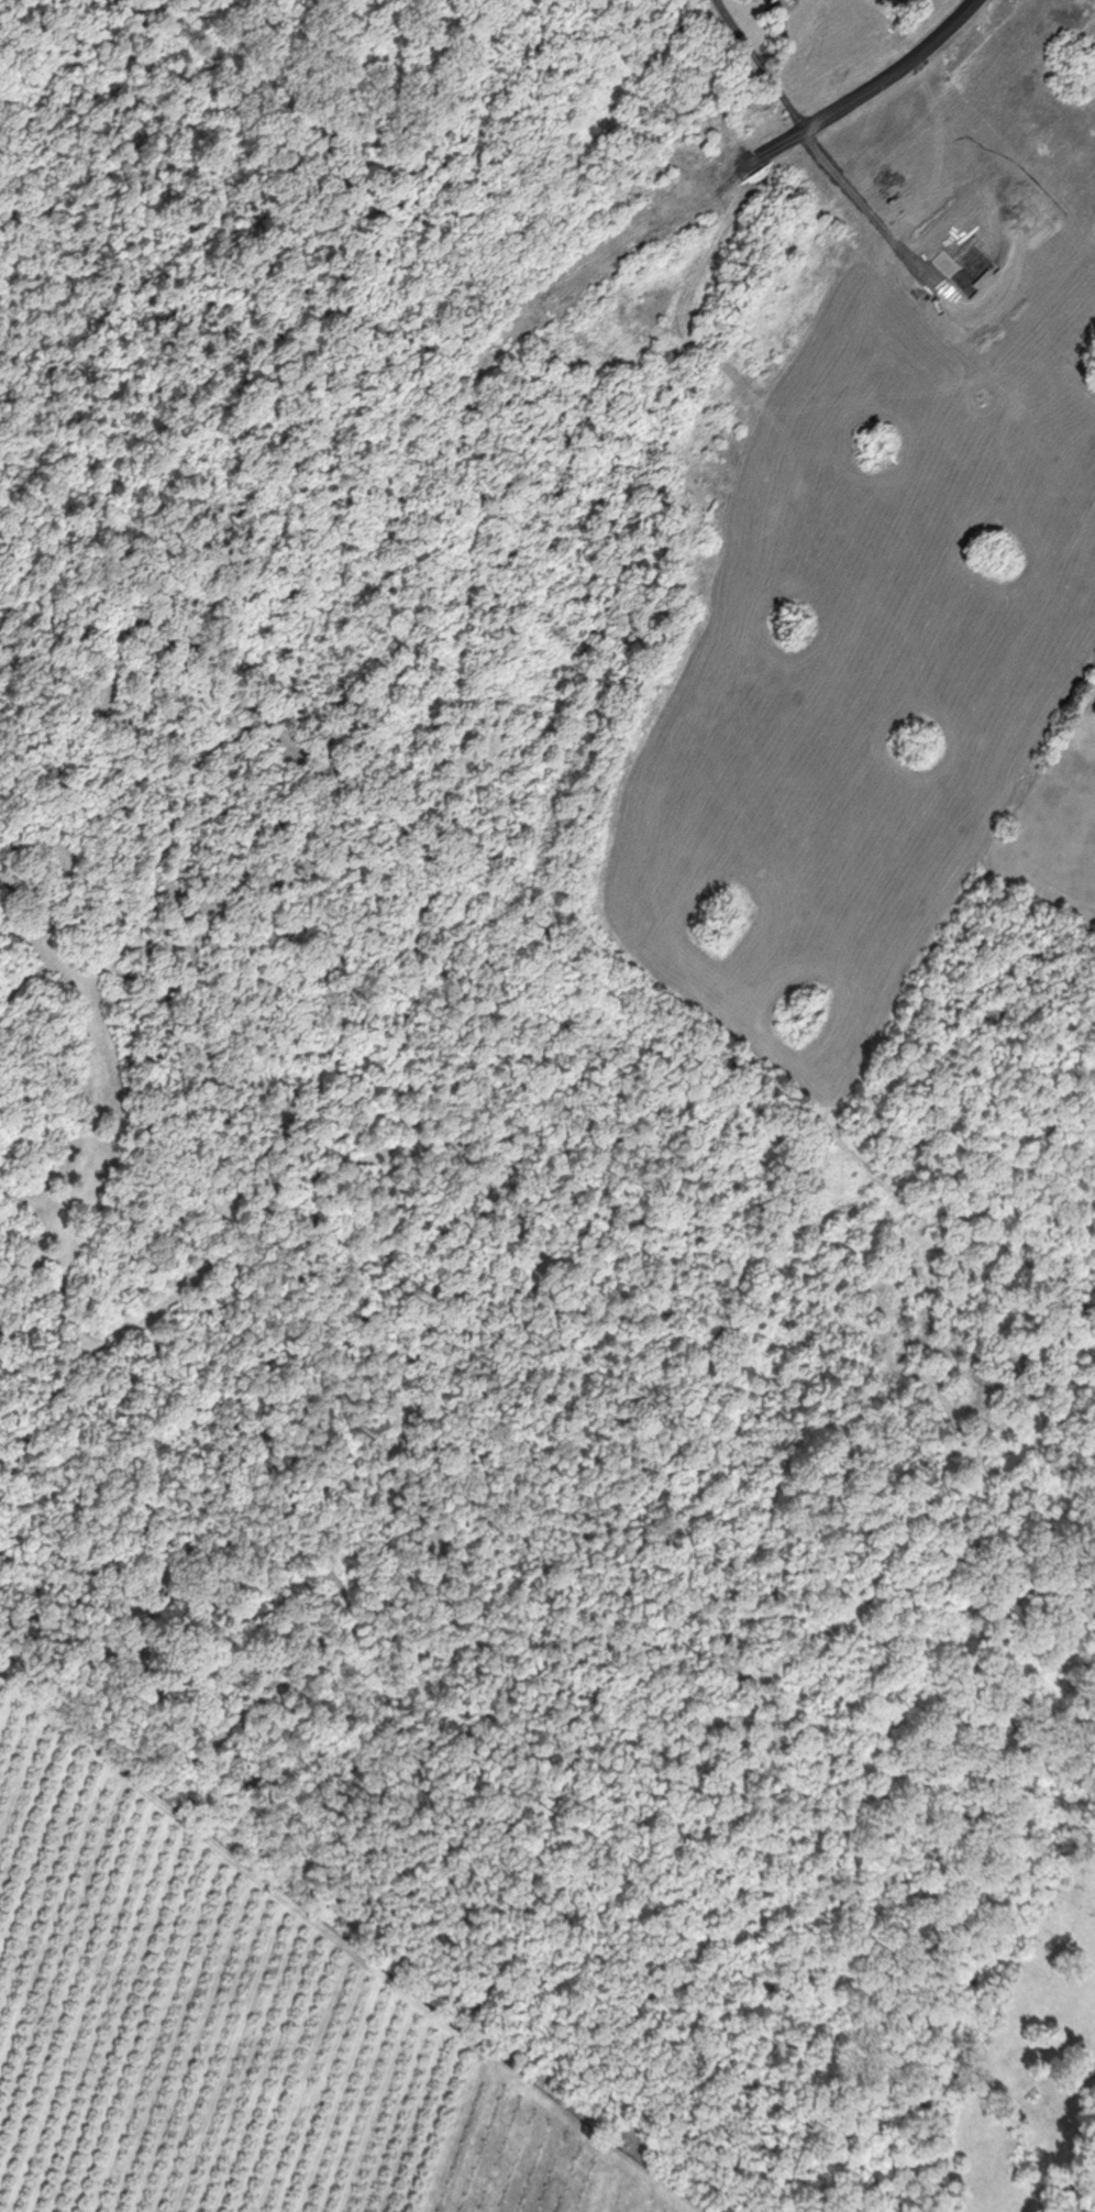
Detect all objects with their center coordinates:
road: (760, 63)
road: (862, 90)

